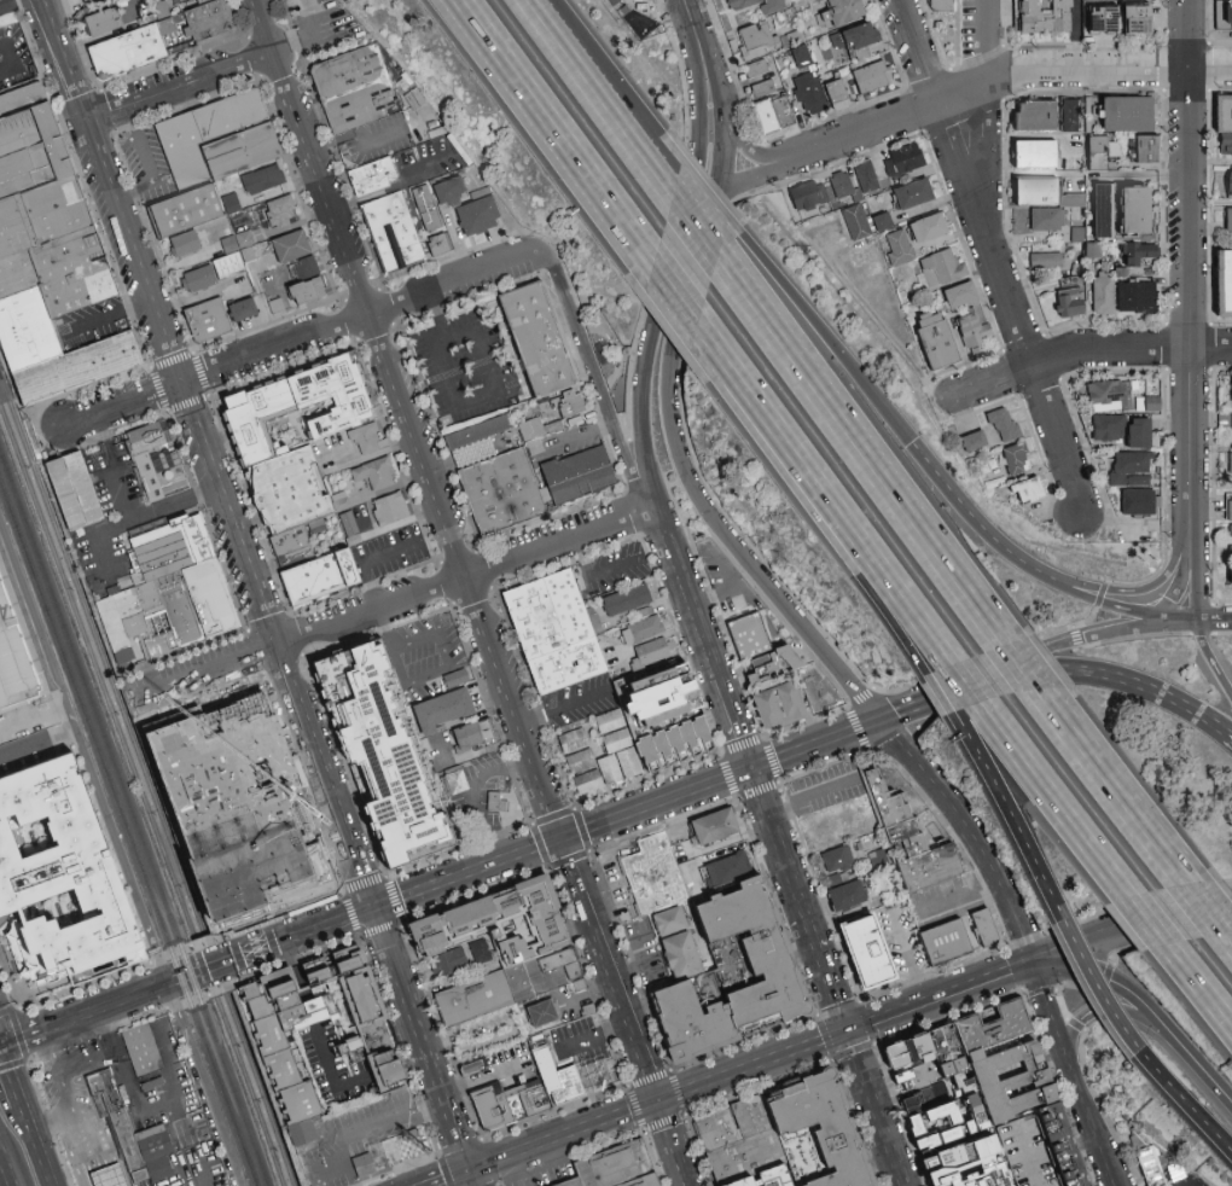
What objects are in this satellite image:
building: (1, 0)
parking lot: (1, 0)
building: (85, 0)
road: (10, 4)
building: (940, 5)
building: (769, 10)
building: (842, 12)
building: (1042, 16)
building: (1224, 16)
building: (640, 17)
road: (656, 18)
building: (214, 19)
building: (1102, 19)
road: (536, 21)
building: (1135, 21)
building: (101, 23)
road: (691, 23)
road: (262, 24)
road: (111, 34)
road: (310, 36)
building: (755, 39)
building: (860, 39)
building: (132, 51)
building: (801, 56)
road: (8, 58)
road: (65, 59)
building: (756, 69)
road: (1010, 71)
building: (871, 77)
road: (180, 83)
building: (762, 89)
building: (362, 92)
building: (809, 93)
building: (836, 94)
road: (982, 110)
building: (232, 114)
building: (773, 114)
building: (1034, 115)
building: (1069, 115)
building: (1127, 115)
road: (611, 116)
road: (629, 124)
building: (1224, 124)
road: (359, 130)
road: (556, 133)
road: (748, 141)
building: (1102, 146)
building: (185, 149)
building: (242, 150)
building: (1145, 150)
building: (1034, 153)
building: (902, 161)
road: (145, 164)
road: (765, 168)
building: (866, 175)
building: (262, 180)
building: (376, 184)
building: (843, 185)
building: (1227, 185)
road: (397, 187)
building: (449, 191)
building: (1041, 192)
building: (912, 193)
building: (808, 194)
building: (232, 203)
road: (704, 203)
building: (47, 208)
building: (190, 210)
building: (280, 211)
building: (1121, 211)
building: (477, 216)
building: (1045, 220)
building: (881, 221)
building: (856, 222)
building: (1228, 222)
road: (693, 225)
building: (432, 227)
road: (281, 228)
building: (926, 228)
building: (1077, 233)
building: (396, 237)
building: (184, 244)
building: (291, 246)
building: (897, 248)
building: (1093, 249)
building: (1140, 254)
road: (989, 256)
building: (1045, 261)
building: (221, 264)
road: (192, 267)
building: (306, 268)
building: (940, 268)
road: (673, 277)
road: (1191, 279)
building: (1224, 284)
building: (306, 291)
building: (1103, 293)
building: (959, 295)
road: (674, 296)
road: (198, 297)
building: (1137, 297)
building: (1070, 303)
road: (265, 304)
building: (246, 310)
road: (111, 316)
building: (213, 322)
road: (881, 326)
building: (974, 330)
building: (539, 336)
road: (819, 336)
road: (296, 339)
building: (935, 339)
road: (1089, 349)
building: (57, 351)
road: (674, 372)
road: (597, 376)
road: (180, 383)
railway: (5, 386)
building: (1230, 389)
building: (1109, 396)
road: (460, 402)
building: (571, 402)
building: (1151, 405)
building: (531, 426)
building: (1108, 428)
building: (480, 429)
building: (325, 431)
building: (992, 431)
building: (1139, 432)
road: (579, 434)
building: (367, 438)
road: (781, 441)
road: (864, 450)
road: (370, 455)
building: (156, 459)
building: (1016, 459)
building: (1228, 464)
building: (1131, 467)
building: (579, 471)
building: (374, 473)
building: (502, 489)
building: (1027, 490)
building: (76, 492)
road: (945, 496)
building: (1138, 502)
building: (389, 508)
road: (127, 511)
building: (1228, 511)
building: (349, 528)
road: (97, 536)
building: (1230, 540)
building: (300, 541)
building: (167, 551)
building: (295, 556)
road: (365, 559)
road: (1015, 559)
building: (1230, 562)
road: (466, 572)
road: (591, 575)
building: (325, 577)
building: (1230, 580)
road: (1139, 586)
road: (1192, 588)
road: (685, 591)
road: (734, 593)
road: (1172, 594)
road: (395, 599)
building: (626, 599)
building: (199, 604)
road: (1115, 604)
road: (911, 610)
road: (901, 614)
road: (1213, 618)
building: (138, 626)
road: (1122, 627)
building: (641, 629)
building: (556, 632)
building: (750, 634)
building: (605, 641)
road: (400, 645)
building: (650, 652)
building: (17, 655)
road: (1211, 656)
building: (772, 664)
railway: (106, 665)
road: (1029, 668)
road: (1030, 668)
road: (987, 670)
railway: (97, 674)
building: (649, 678)
building: (454, 679)
road: (970, 684)
road: (1157, 688)
road: (855, 690)
road: (947, 693)
building: (668, 700)
building: (778, 704)
road: (564, 707)
road: (900, 709)
building: (441, 710)
road: (30, 717)
building: (256, 719)
road: (736, 720)
building: (609, 721)
building: (573, 739)
building: (477, 742)
road: (817, 743)
building: (674, 744)
road: (226, 751)
building: (394, 751)
building: (604, 763)
traffic signals: (754, 767)
road: (325, 777)
building: (461, 784)
parking lot: (826, 786)
building: (280, 789)
road: (1118, 790)
road: (476, 792)
road: (804, 793)
building: (187, 797)
road: (1057, 801)
building: (500, 803)
building: (889, 807)
road: (1011, 818)
railway: (133, 820)
building: (714, 826)
building: (830, 827)
road: (965, 832)
railway: (128, 833)
road: (563, 836)
building: (265, 844)
road: (780, 844)
building: (879, 856)
road: (116, 859)
building: (837, 860)
building: (726, 868)
building: (652, 873)
building: (60, 883)
building: (727, 884)
road: (364, 886)
building: (310, 891)
building: (248, 894)
building: (215, 896)
building: (847, 896)
road: (394, 900)
road: (958, 900)
road: (1184, 905)
traffic signals: (374, 907)
road: (1207, 909)
road: (0, 914)
road: (1150, 920)
road: (379, 928)
building: (983, 928)
road: (1228, 937)
road: (1086, 940)
building: (675, 942)
building: (943, 942)
building: (505, 948)
building: (478, 950)
building: (866, 950)
road: (906, 958)
road: (641, 959)
traffic signals: (1031, 959)
building: (448, 963)
road: (208, 969)
road: (629, 970)
road: (829, 975)
building: (736, 977)
road: (1201, 982)
road: (938, 993)
road: (588, 995)
road: (1106, 1000)
road: (1146, 1001)
road: (1104, 1008)
building: (541, 1013)
building: (994, 1024)
road: (316, 1028)
traffic signals: (848, 1028)
road: (422, 1037)
road: (21, 1039)
building: (348, 1043)
road: (22, 1045)
building: (145, 1052)
road: (752, 1063)
building: (472, 1065)
building: (952, 1066)
road: (56, 1071)
road: (1075, 1072)
building: (916, 1076)
road: (10, 1079)
building: (610, 1079)
railway: (262, 1091)
railway: (250, 1093)
building: (988, 1094)
building: (516, 1095)
building: (928, 1097)
traffic signals: (657, 1099)
road: (877, 1106)
road: (554, 1111)
road: (134, 1112)
road: (685, 1114)
road: (1196, 1114)
road: (48, 1120)
road: (51, 1123)
building: (737, 1126)
building: (159, 1130)
road: (562, 1134)
building: (821, 1134)
road: (79, 1136)
road: (469, 1141)
road: (673, 1143)
road: (333, 1144)
road: (34, 1145)
building: (408, 1149)
building: (749, 1159)
building: (1150, 1163)
building: (362, 1165)
building: (611, 1165)
building: (971, 1165)
road: (5, 1170)
traffic signals: (469, 1170)
road: (192, 1178)
road: (446, 1178)
road: (471, 1178)
building: (773, 1179)
building: (111, 1180)
building: (643, 1181)

